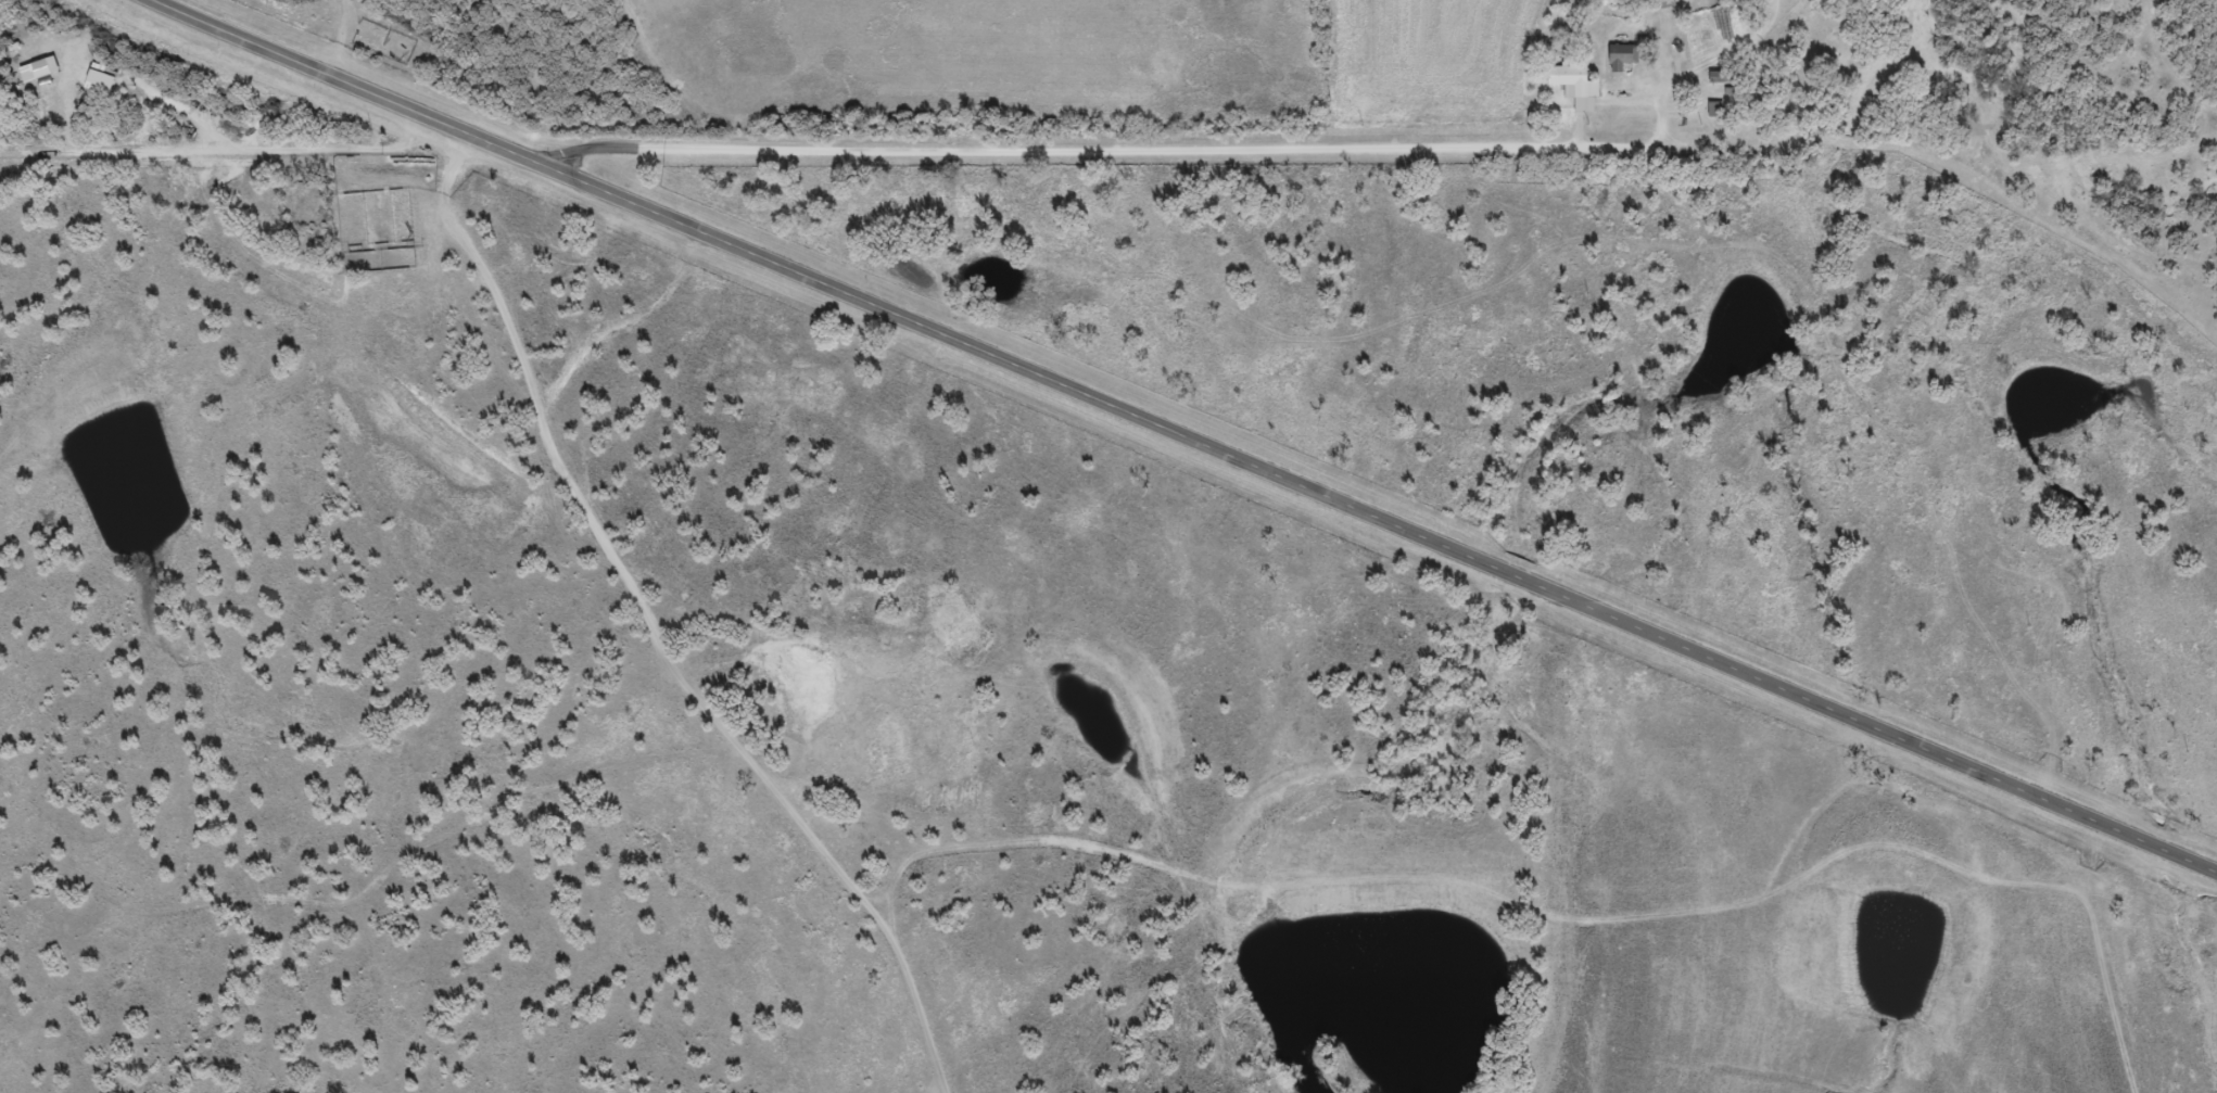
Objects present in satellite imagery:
building: (1619, 65)
building: (98, 86)
building: (1572, 94)
building: (1713, 117)
road: (1114, 148)
road: (1189, 431)

